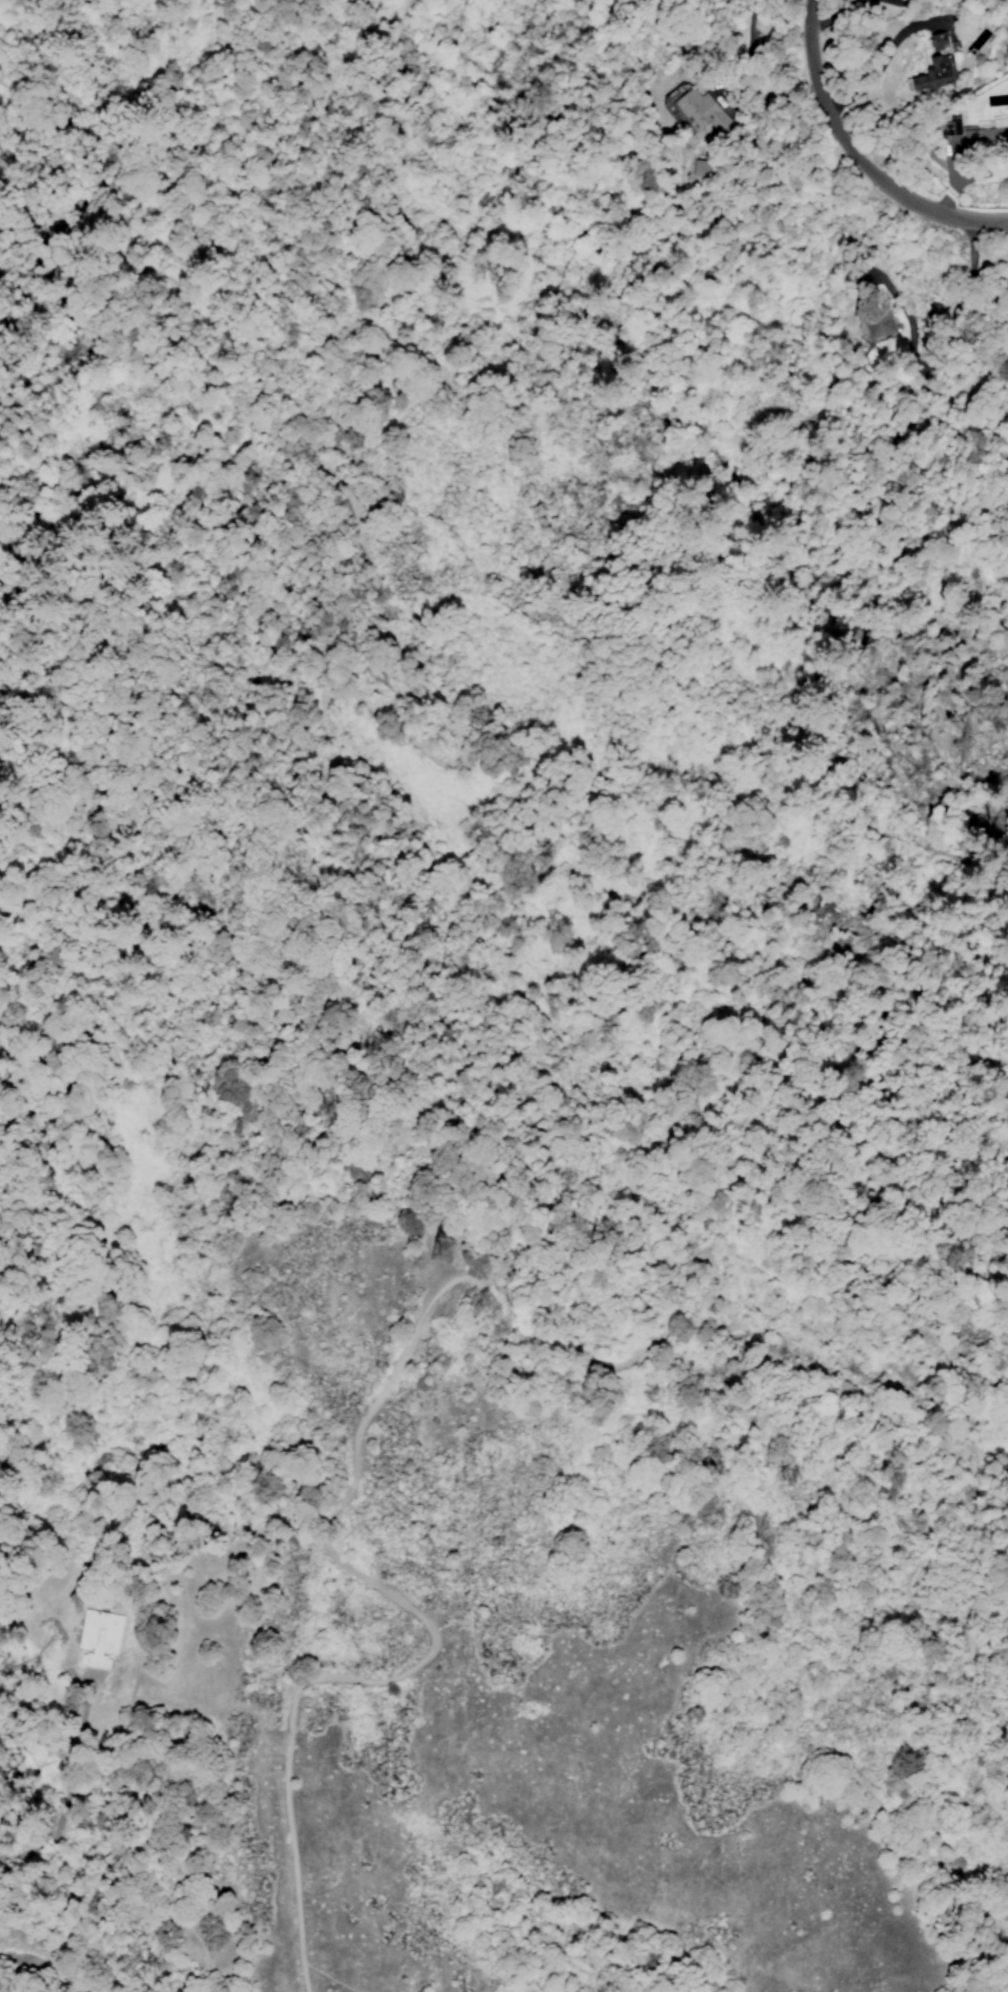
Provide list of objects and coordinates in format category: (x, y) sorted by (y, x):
road: (842, 13)
road: (880, 53)
building: (937, 65)
building: (700, 110)
building: (950, 125)
building: (984, 135)
road: (857, 159)
building: (698, 168)
road: (271, 234)
building: (874, 322)
road: (14, 602)
road: (2, 607)
road: (172, 638)
road: (410, 828)
power tower: (442, 1248)
road: (607, 1365)
road: (915, 1511)
road: (428, 1625)
building: (99, 1649)
road: (18, 1955)
road: (328, 1977)

